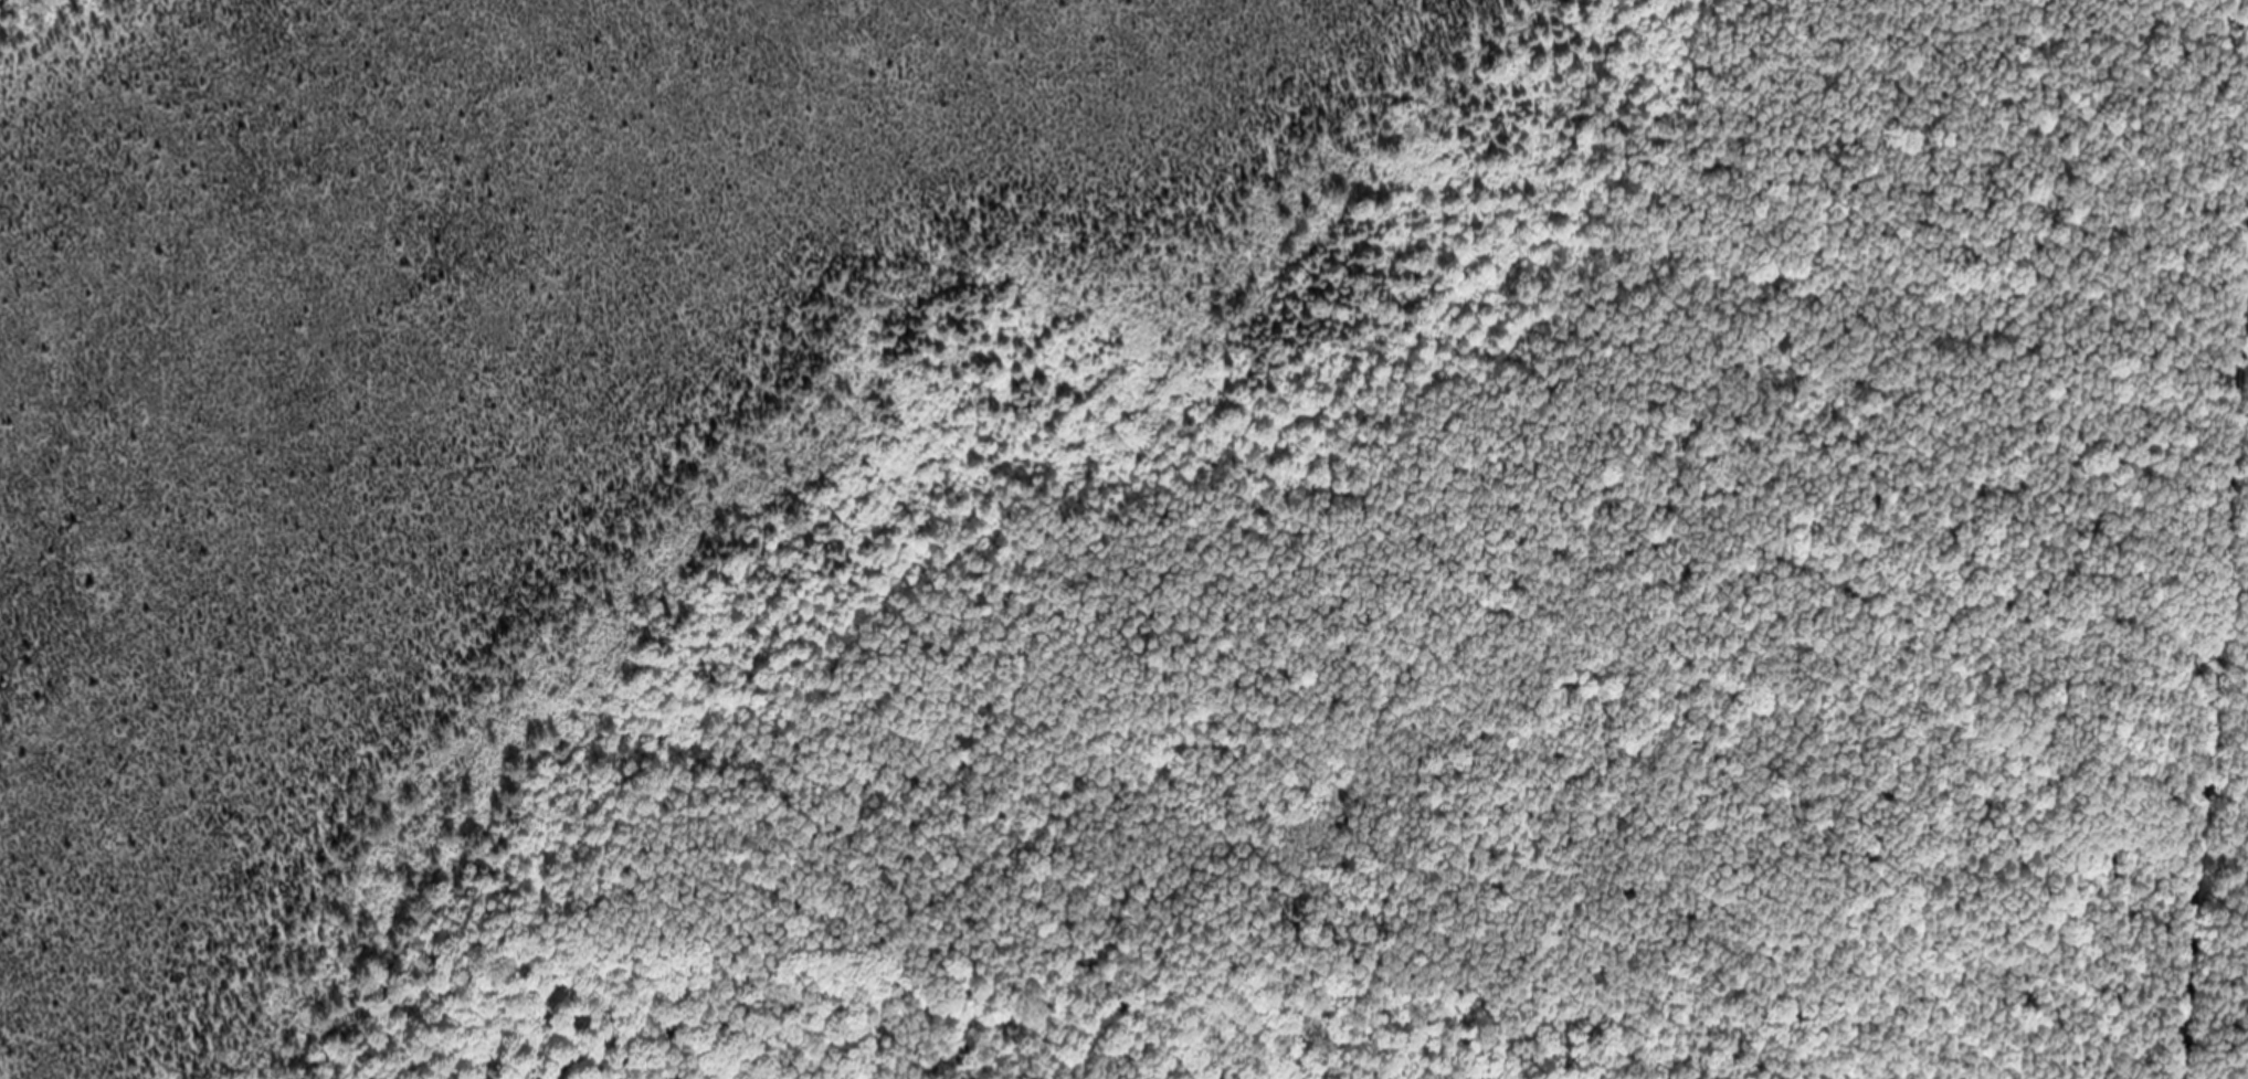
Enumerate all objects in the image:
road: (2245, 313)
road: (2210, 657)

